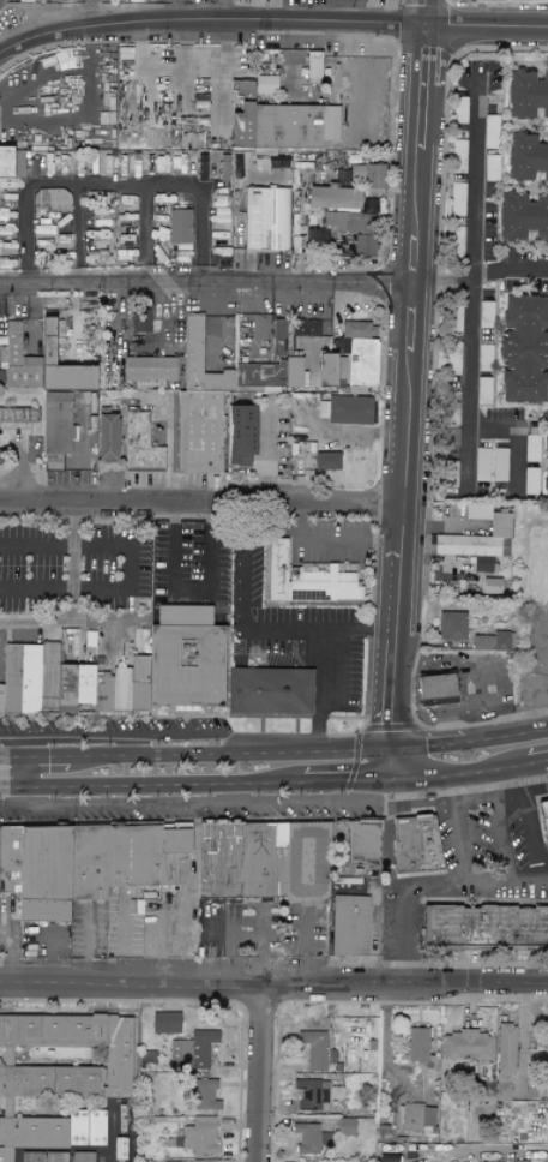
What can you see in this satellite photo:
road: (273, 11)
parking lot: (14, 18)
road: (271, 22)
road: (182, 67)
building: (314, 67)
road: (46, 83)
building: (265, 84)
building: (528, 95)
building: (279, 124)
building: (526, 157)
building: (11, 163)
building: (375, 176)
road: (113, 185)
building: (338, 192)
building: (54, 204)
building: (266, 218)
building: (522, 218)
building: (180, 227)
building: (354, 229)
road: (476, 275)
road: (204, 284)
road: (470, 284)
road: (36, 317)
building: (140, 319)
road: (261, 322)
building: (306, 327)
building: (278, 336)
building: (523, 347)
building: (361, 352)
building: (41, 361)
building: (150, 367)
building: (326, 367)
building: (267, 373)
building: (1, 377)
road: (402, 391)
building: (199, 405)
building: (347, 408)
building: (18, 414)
building: (55, 425)
building: (240, 432)
building: (106, 435)
road: (516, 437)
building: (140, 443)
building: (546, 445)
road: (265, 457)
building: (327, 460)
building: (546, 480)
road: (198, 505)
building: (476, 537)
road: (329, 543)
road: (173, 555)
road: (72, 562)
road: (128, 568)
building: (306, 579)
road: (36, 623)
building: (451, 625)
road: (275, 631)
building: (504, 640)
building: (481, 641)
building: (122, 670)
building: (435, 689)
building: (269, 690)
road: (320, 693)
road: (484, 700)
road: (505, 733)
road: (122, 737)
road: (424, 743)
road: (131, 747)
road: (26, 748)
traffic signals: (386, 748)
road: (228, 754)
road: (49, 756)
road: (13, 757)
traffic signals: (28, 757)
road: (546, 762)
road: (536, 765)
road: (23, 773)
road: (456, 778)
traffic signals: (384, 784)
road: (343, 785)
road: (159, 786)
road: (493, 787)
road: (8, 789)
traffic signals: (18, 789)
road: (17, 797)
road: (194, 803)
road: (404, 803)
road: (474, 803)
building: (543, 816)
road: (531, 826)
road: (456, 832)
building: (357, 840)
road: (504, 841)
building: (415, 843)
building: (263, 859)
building: (84, 862)
road: (428, 886)
building: (349, 924)
building: (484, 924)
road: (121, 941)
road: (372, 941)
road: (85, 946)
road: (10, 950)
road: (273, 988)
building: (164, 1022)
building: (417, 1043)
building: (466, 1046)
building: (314, 1048)
building: (192, 1050)
building: (147, 1058)
building: (59, 1070)
building: (506, 1071)
road: (257, 1076)
building: (312, 1092)
building: (205, 1095)
building: (417, 1118)
building: (344, 1126)
building: (86, 1127)
building: (201, 1136)
building: (309, 1138)
building: (43, 1156)
building: (82, 1156)

